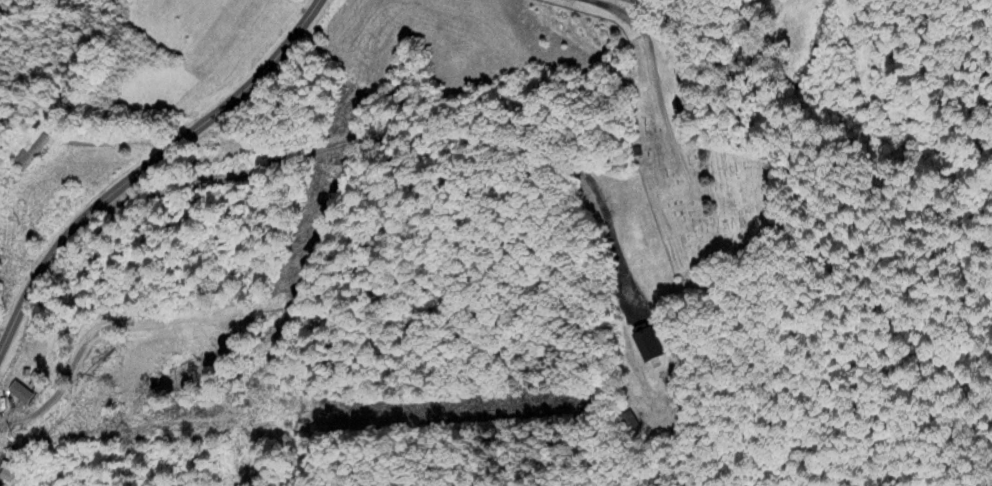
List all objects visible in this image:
road: (622, 9)
road: (395, 132)
park: (696, 155)
building: (35, 156)
road: (146, 164)
building: (650, 347)
building: (0, 470)
building: (11, 478)

